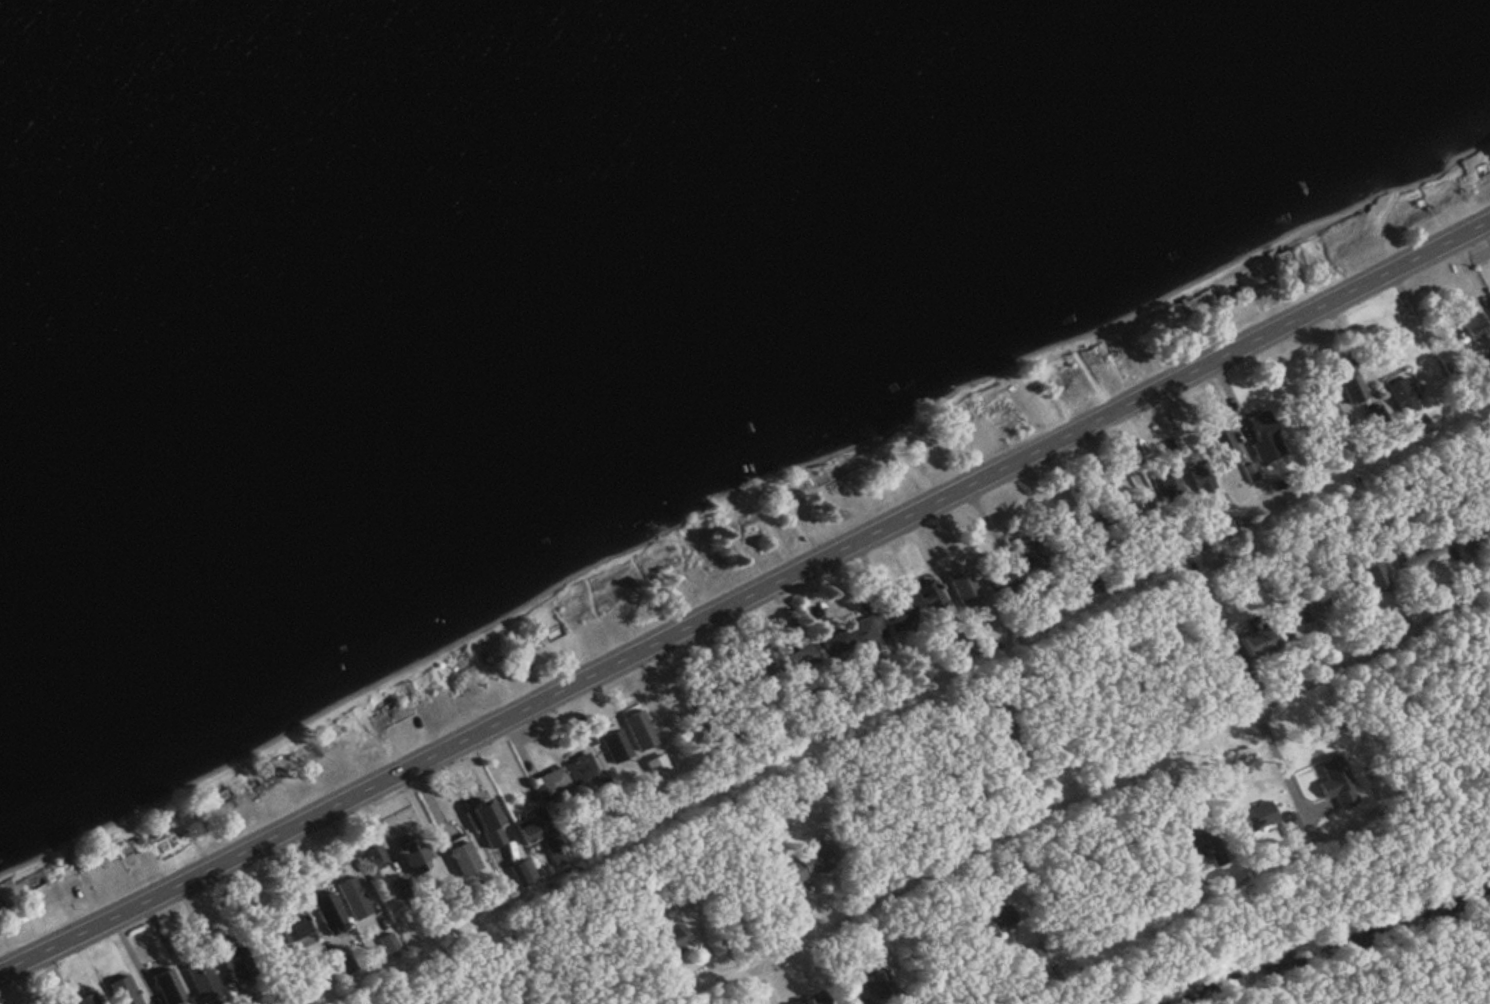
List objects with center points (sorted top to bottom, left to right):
building: (1283, 260)
building: (1471, 329)
building: (1354, 391)
building: (1403, 399)
building: (1262, 434)
building: (1472, 531)
building: (1028, 552)
building: (1421, 559)
road: (1183, 561)
building: (1371, 577)
building: (1088, 587)
building: (928, 595)
road: (746, 599)
building: (902, 617)
building: (868, 631)
building: (1262, 641)
building: (837, 644)
road: (1374, 652)
building: (805, 656)
building: (920, 675)
building: (641, 732)
building: (615, 746)
building: (657, 767)
building: (562, 779)
building: (541, 837)
building: (1204, 848)
building: (417, 856)
road: (968, 859)
building: (817, 860)
road: (461, 890)
building: (352, 898)
building: (678, 899)
building: (327, 911)
building: (997, 920)
building: (294, 930)
building: (671, 939)
building: (237, 963)
building: (203, 983)
building: (877, 986)
building: (167, 987)
building: (87, 999)
building: (815, 999)

